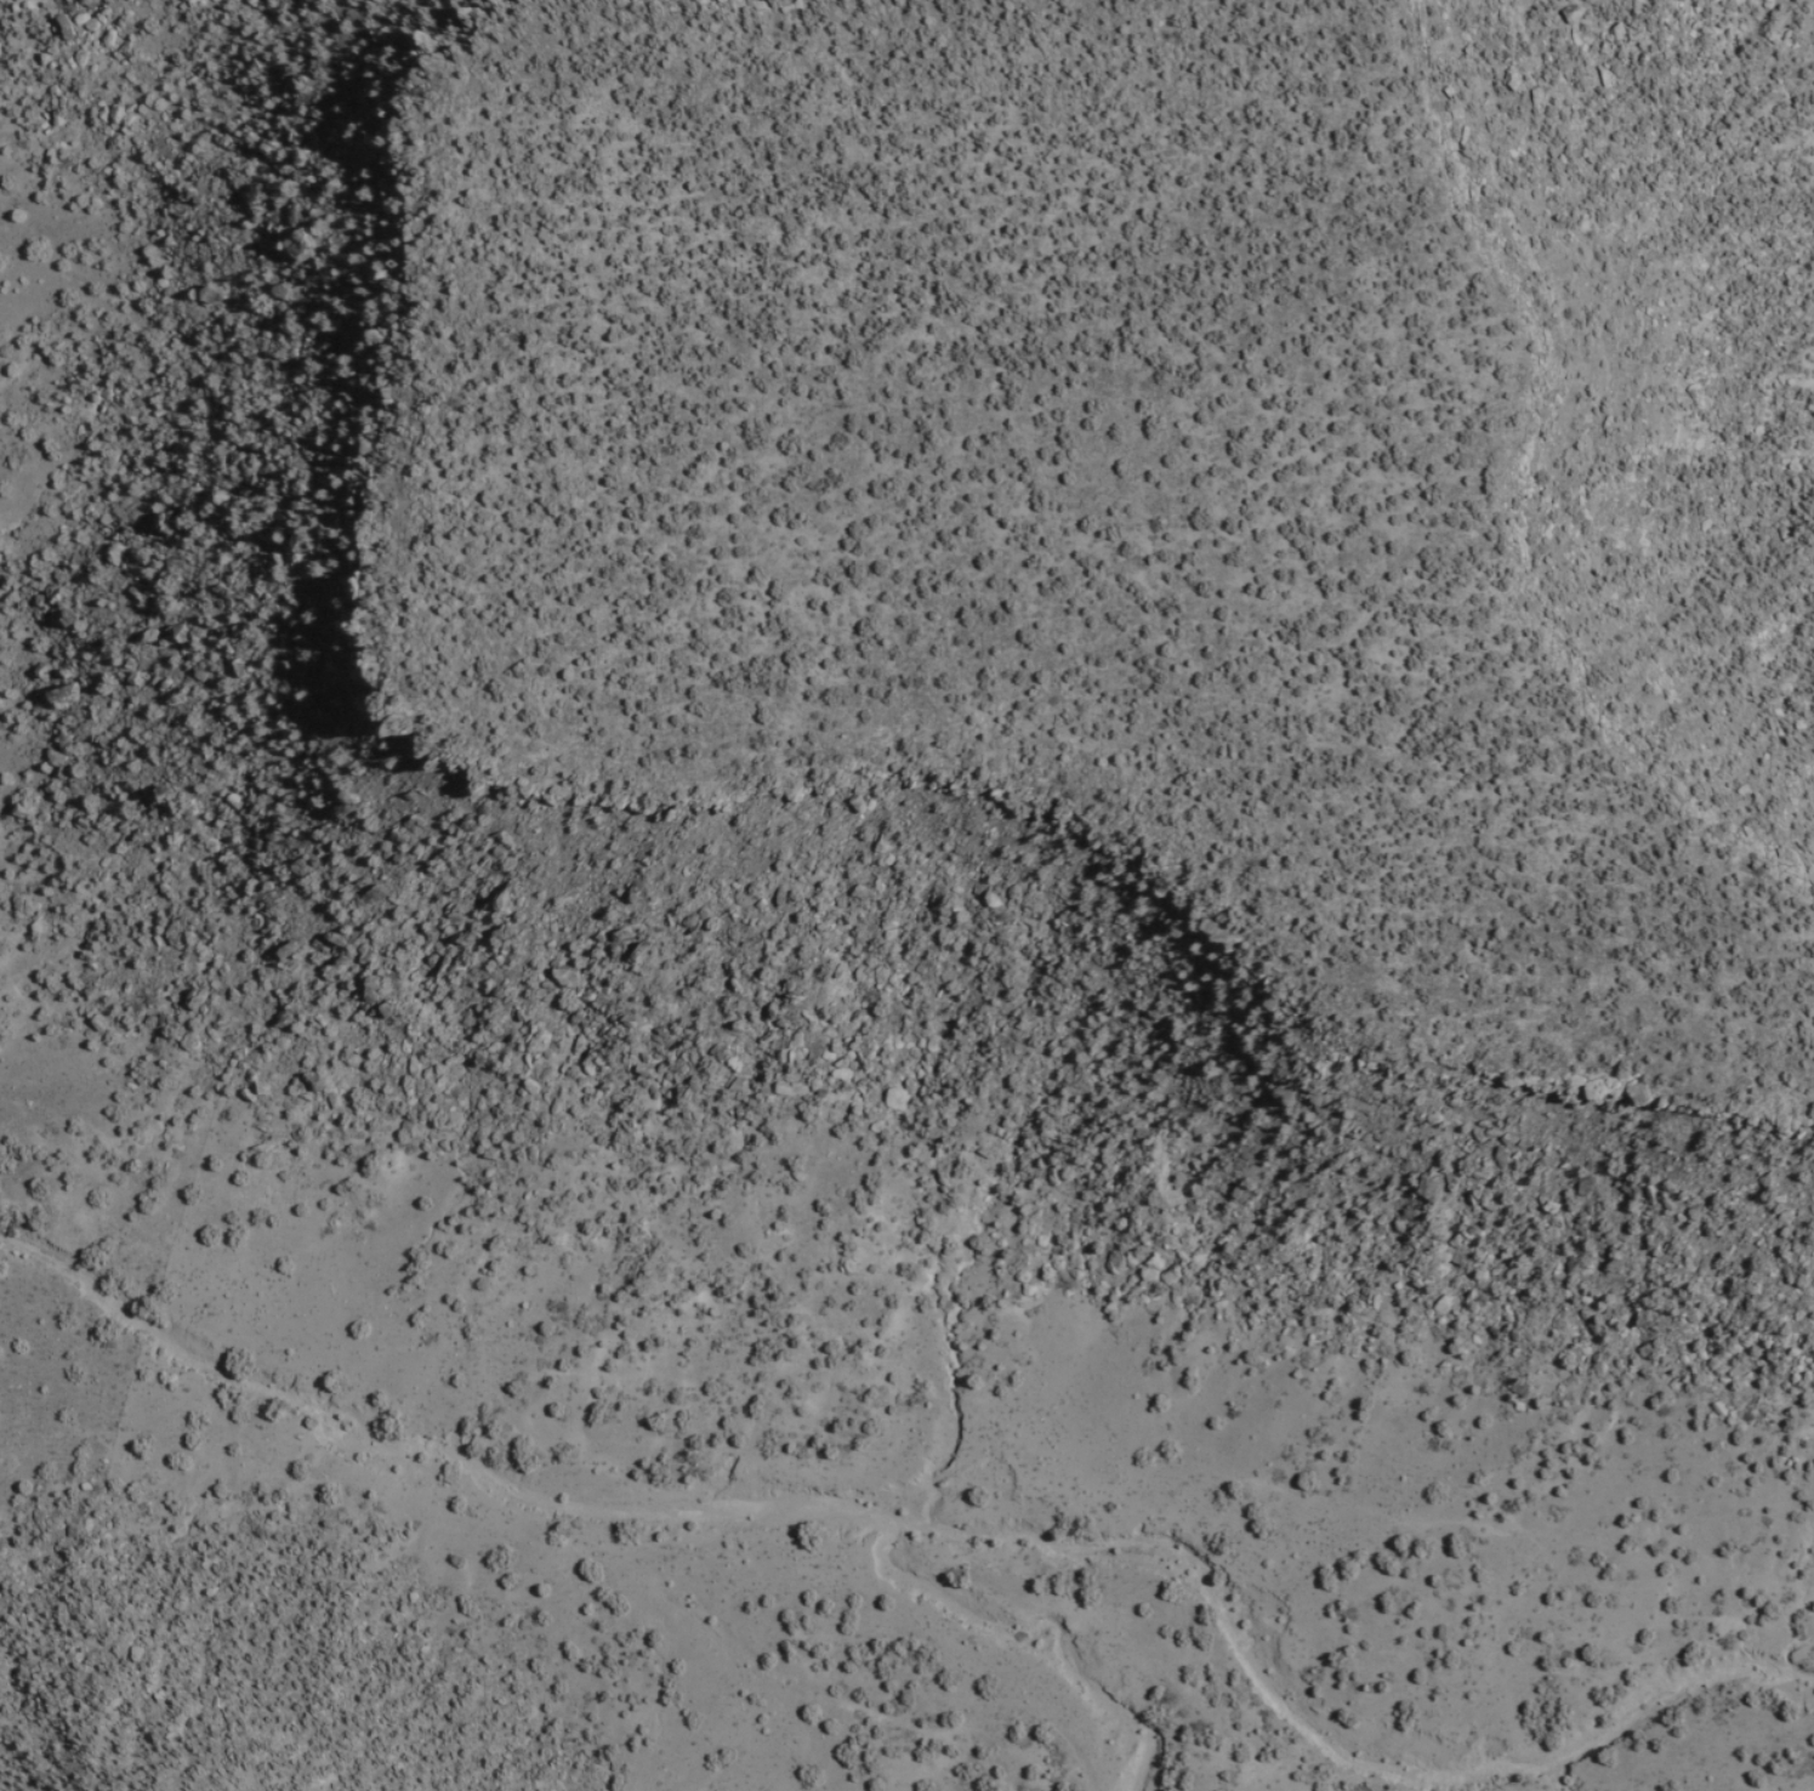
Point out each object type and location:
road: (528, 1547)

